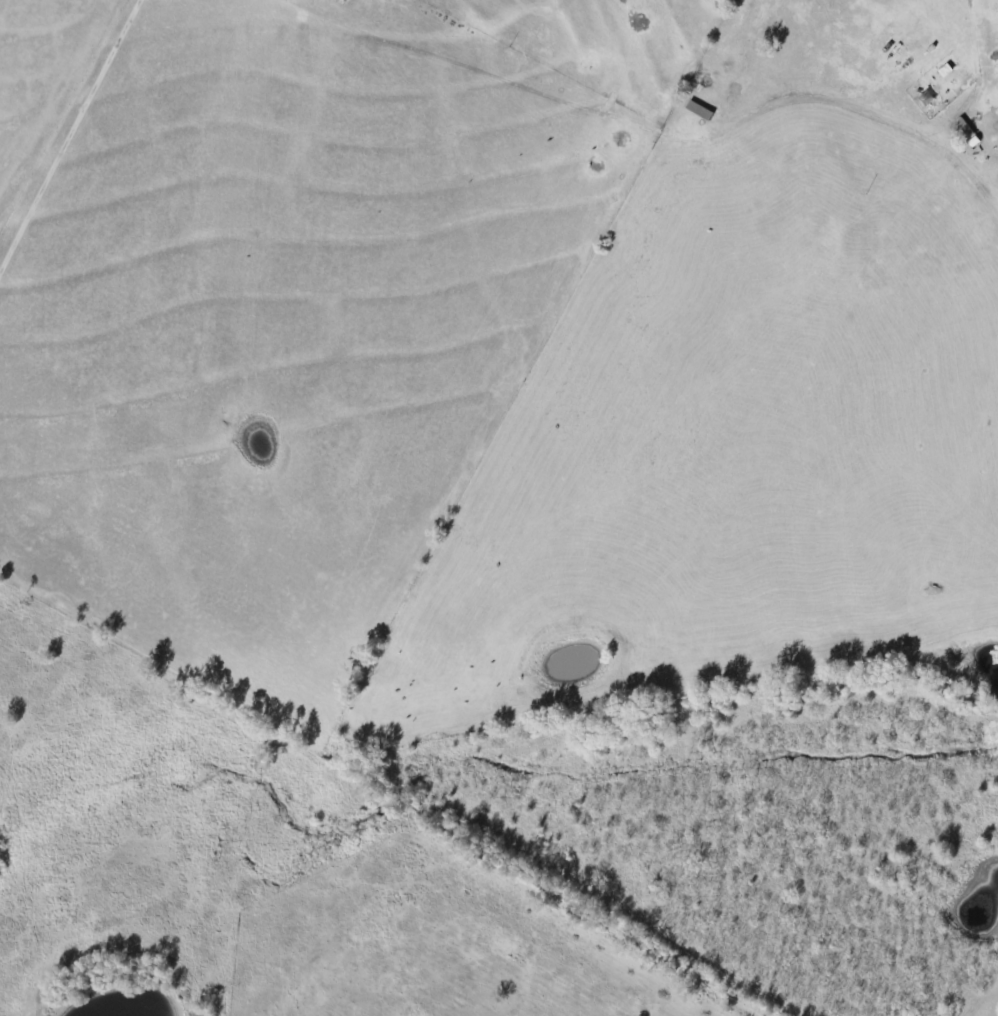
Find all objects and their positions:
crop: (48, 91)
road: (845, 103)
road: (75, 146)

